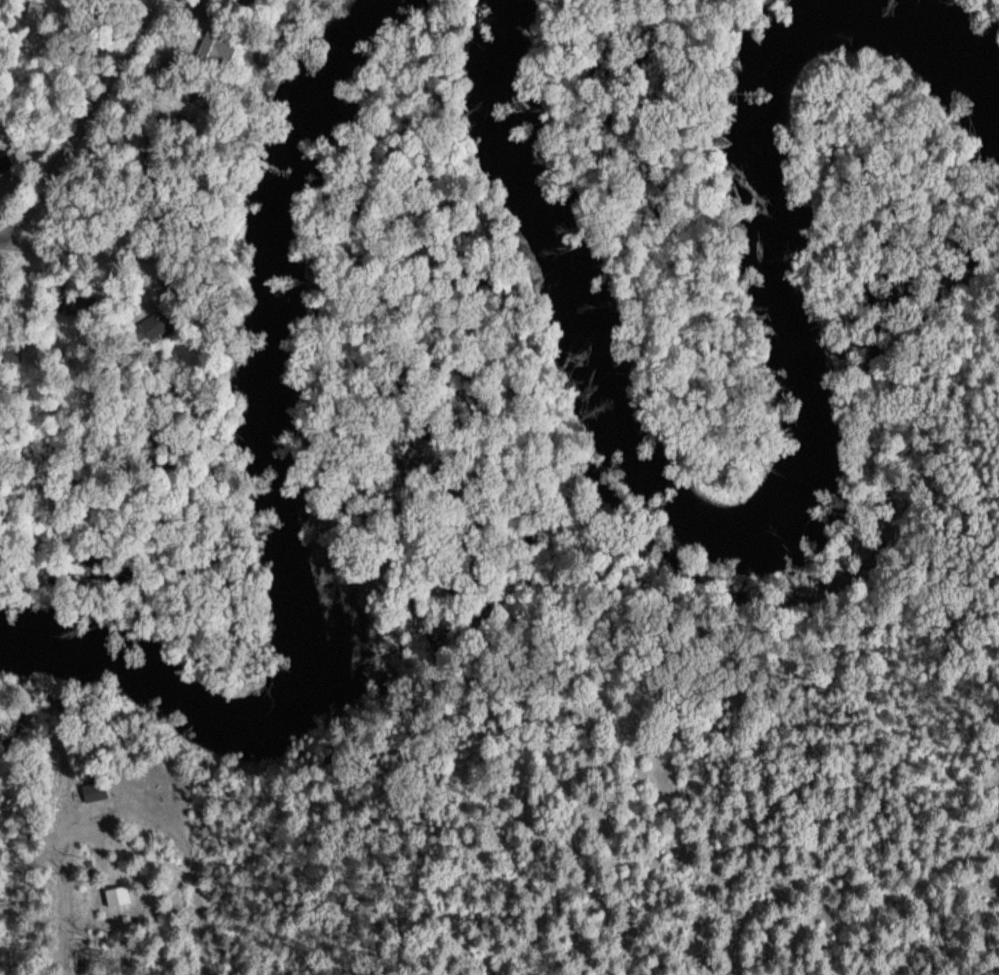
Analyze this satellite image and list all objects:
building: (246, 1)
road: (82, 120)
building: (4, 159)
road: (6, 238)
building: (148, 327)
river: (794, 478)
river: (282, 499)
road: (584, 711)
road: (137, 848)

